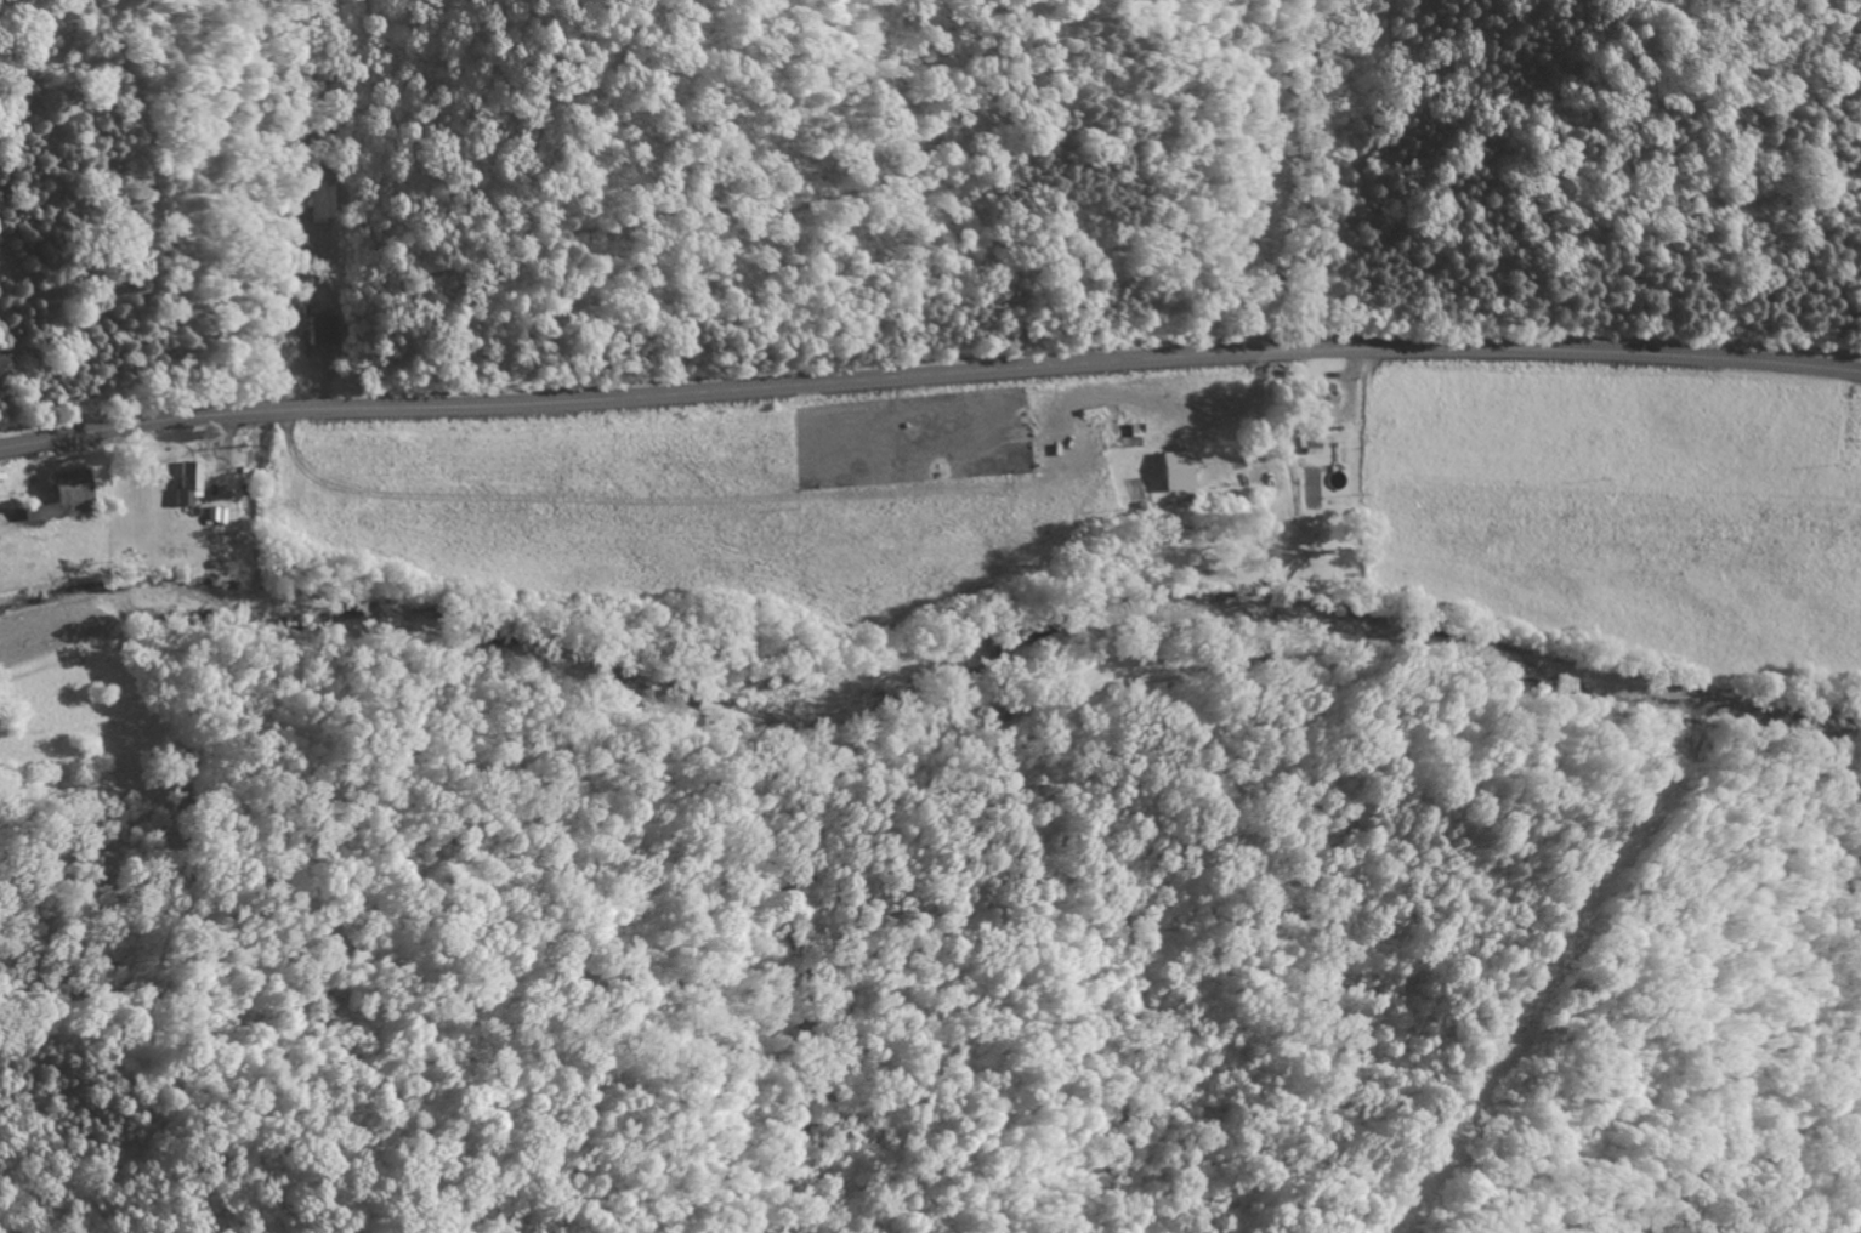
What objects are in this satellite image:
road: (929, 376)
building: (1175, 471)
building: (64, 500)

